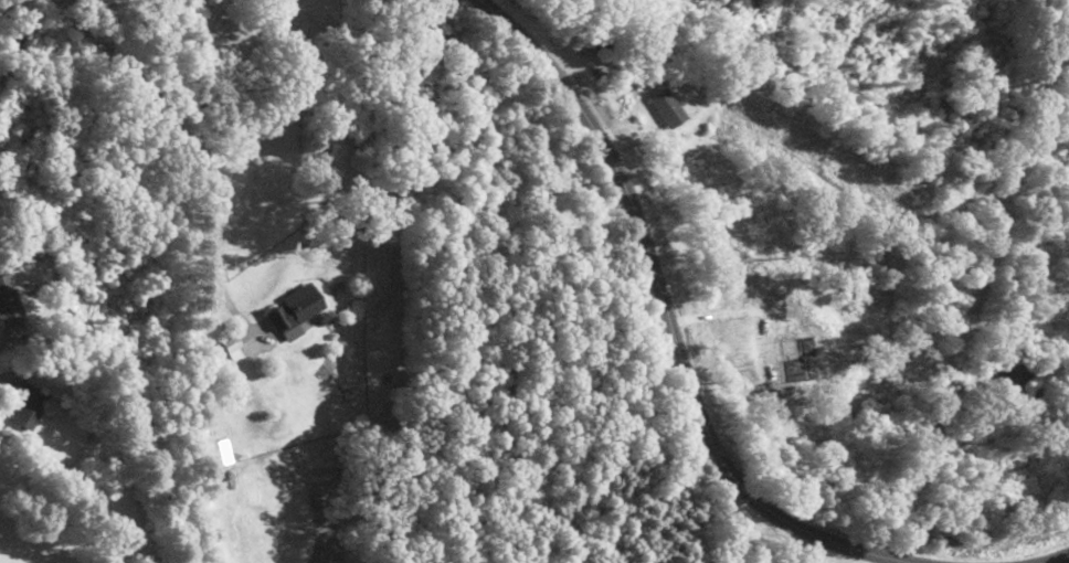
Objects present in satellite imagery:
building: (668, 107)
building: (10, 304)
building: (295, 311)
road: (663, 316)
building: (28, 404)
road: (1051, 556)

